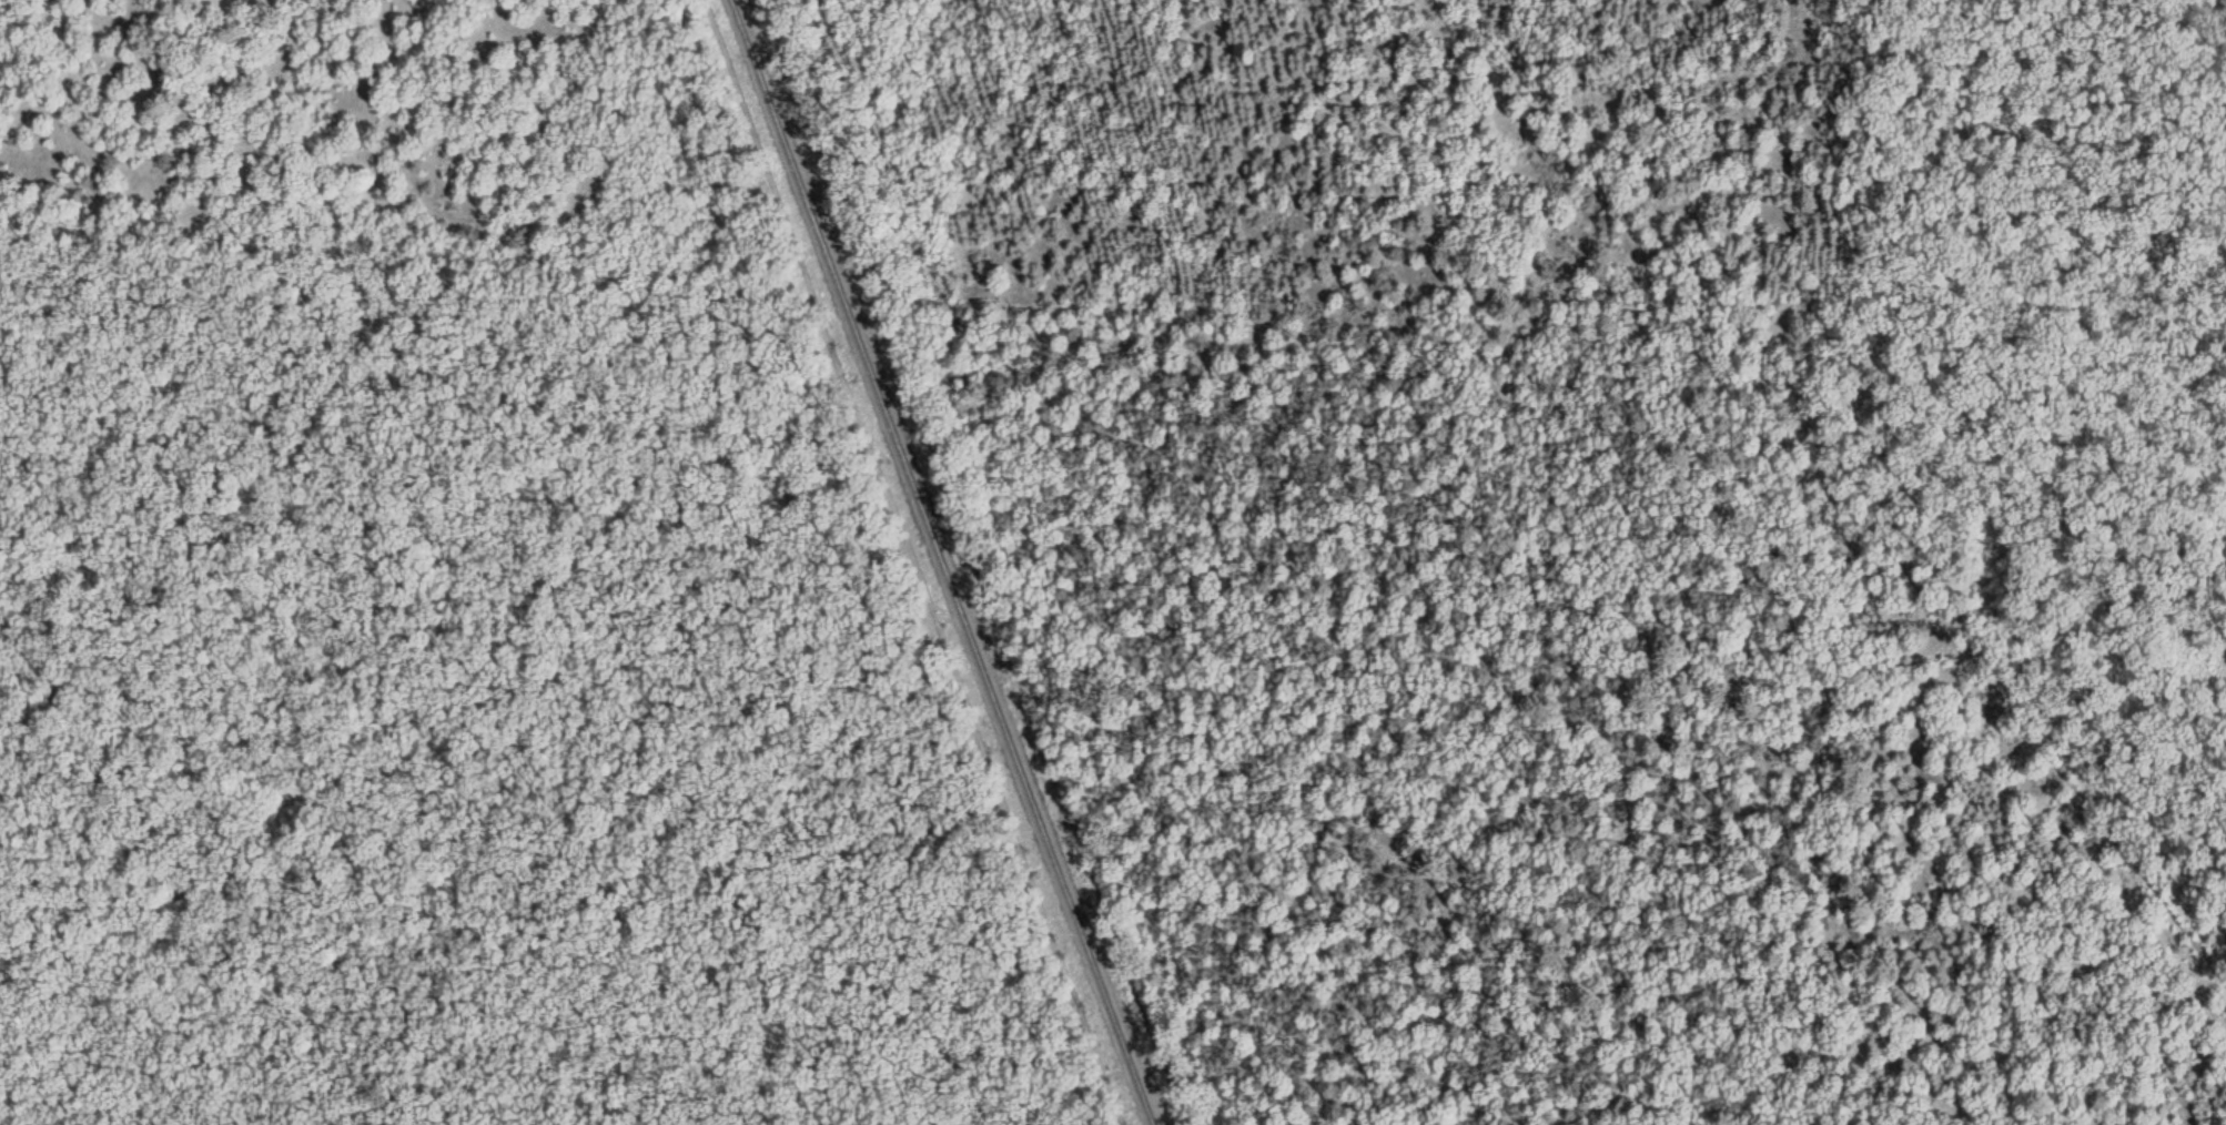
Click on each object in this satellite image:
road: (1839, 495)
railway: (941, 561)

